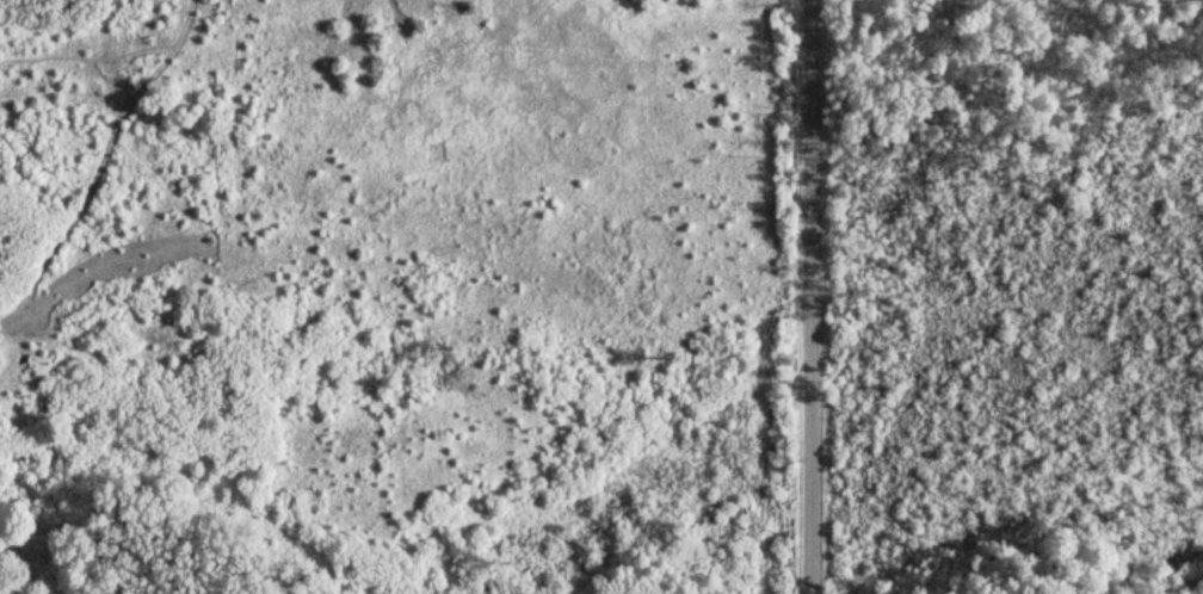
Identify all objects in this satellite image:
road: (788, 297)

